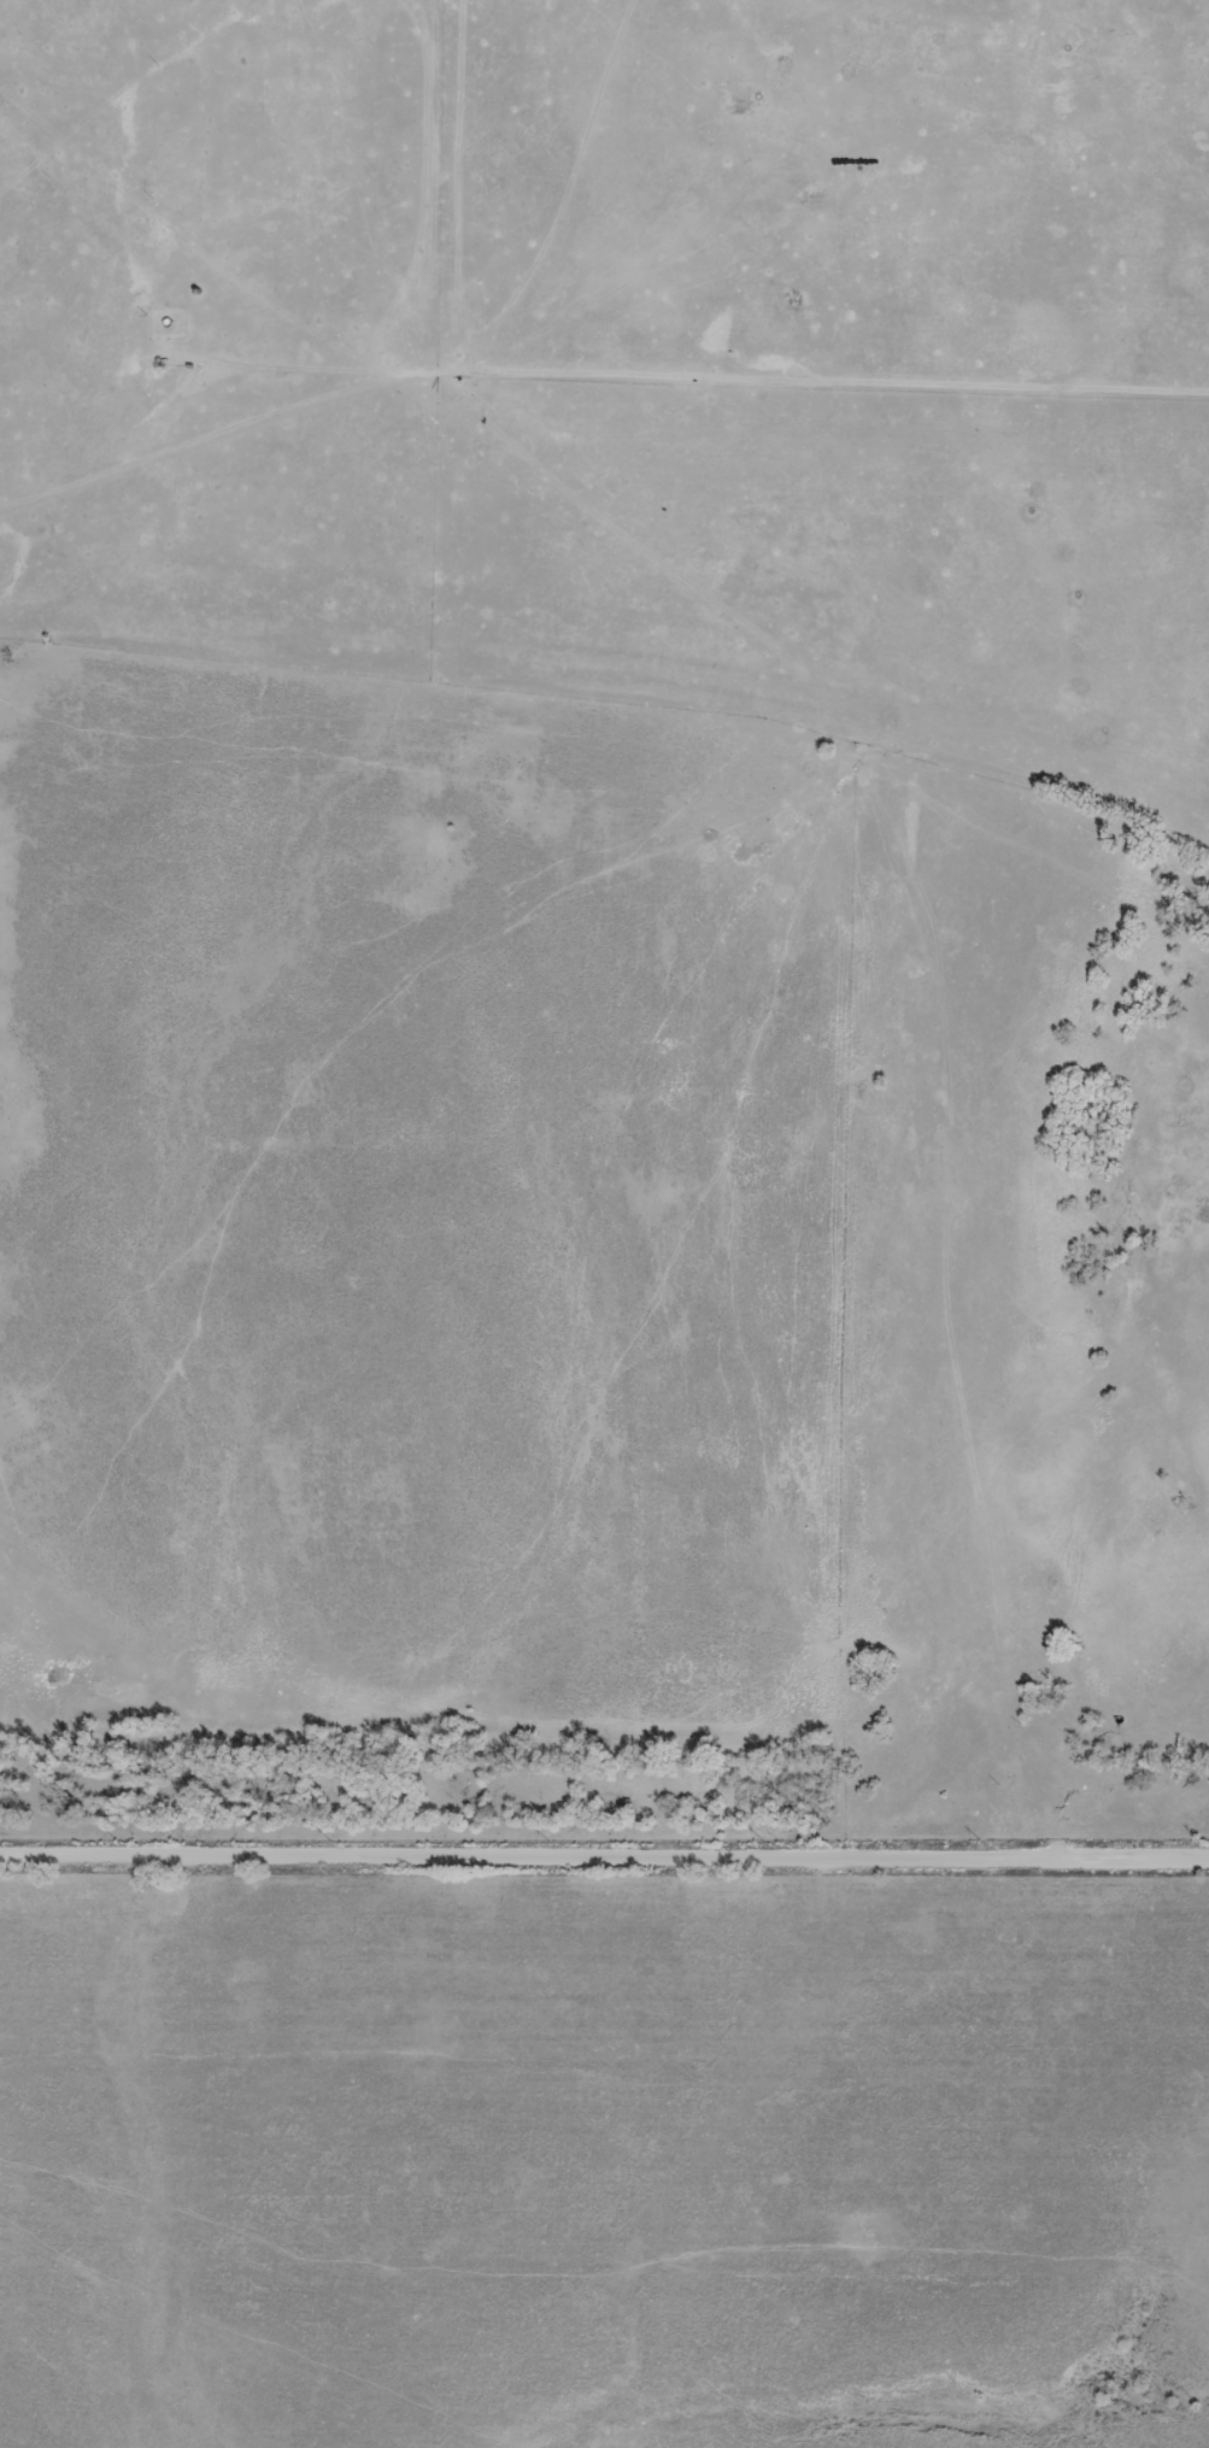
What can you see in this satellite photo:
road: (604, 1854)

